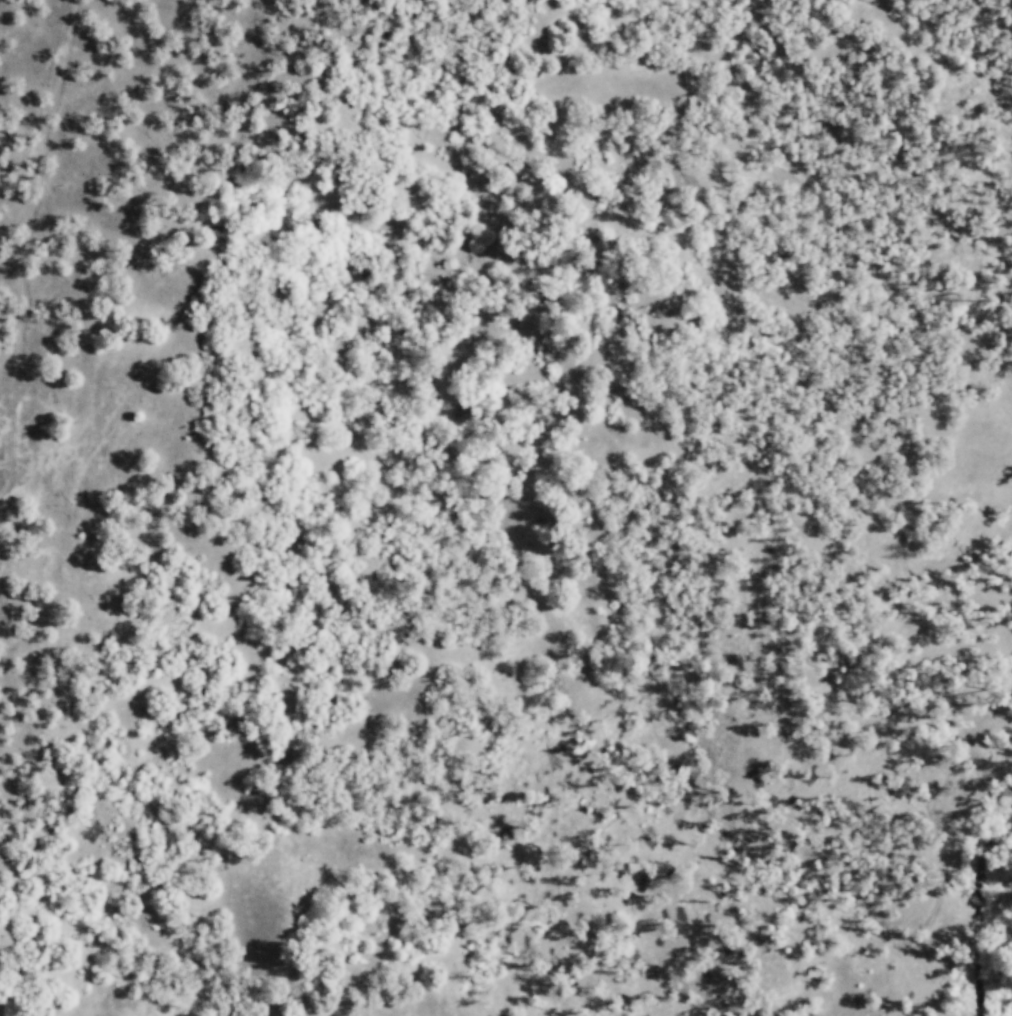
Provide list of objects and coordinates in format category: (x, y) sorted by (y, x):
road: (19, 242)

